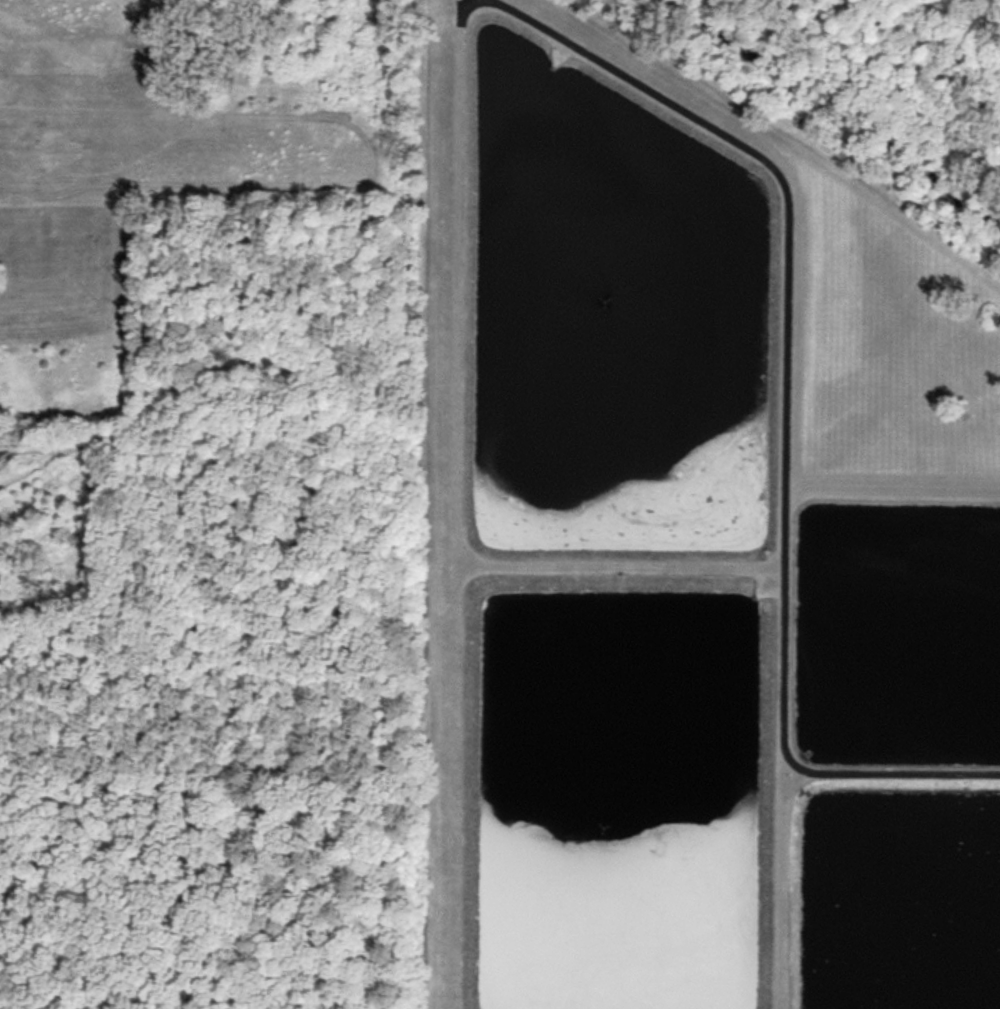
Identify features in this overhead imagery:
road: (464, 9)
road: (786, 402)

